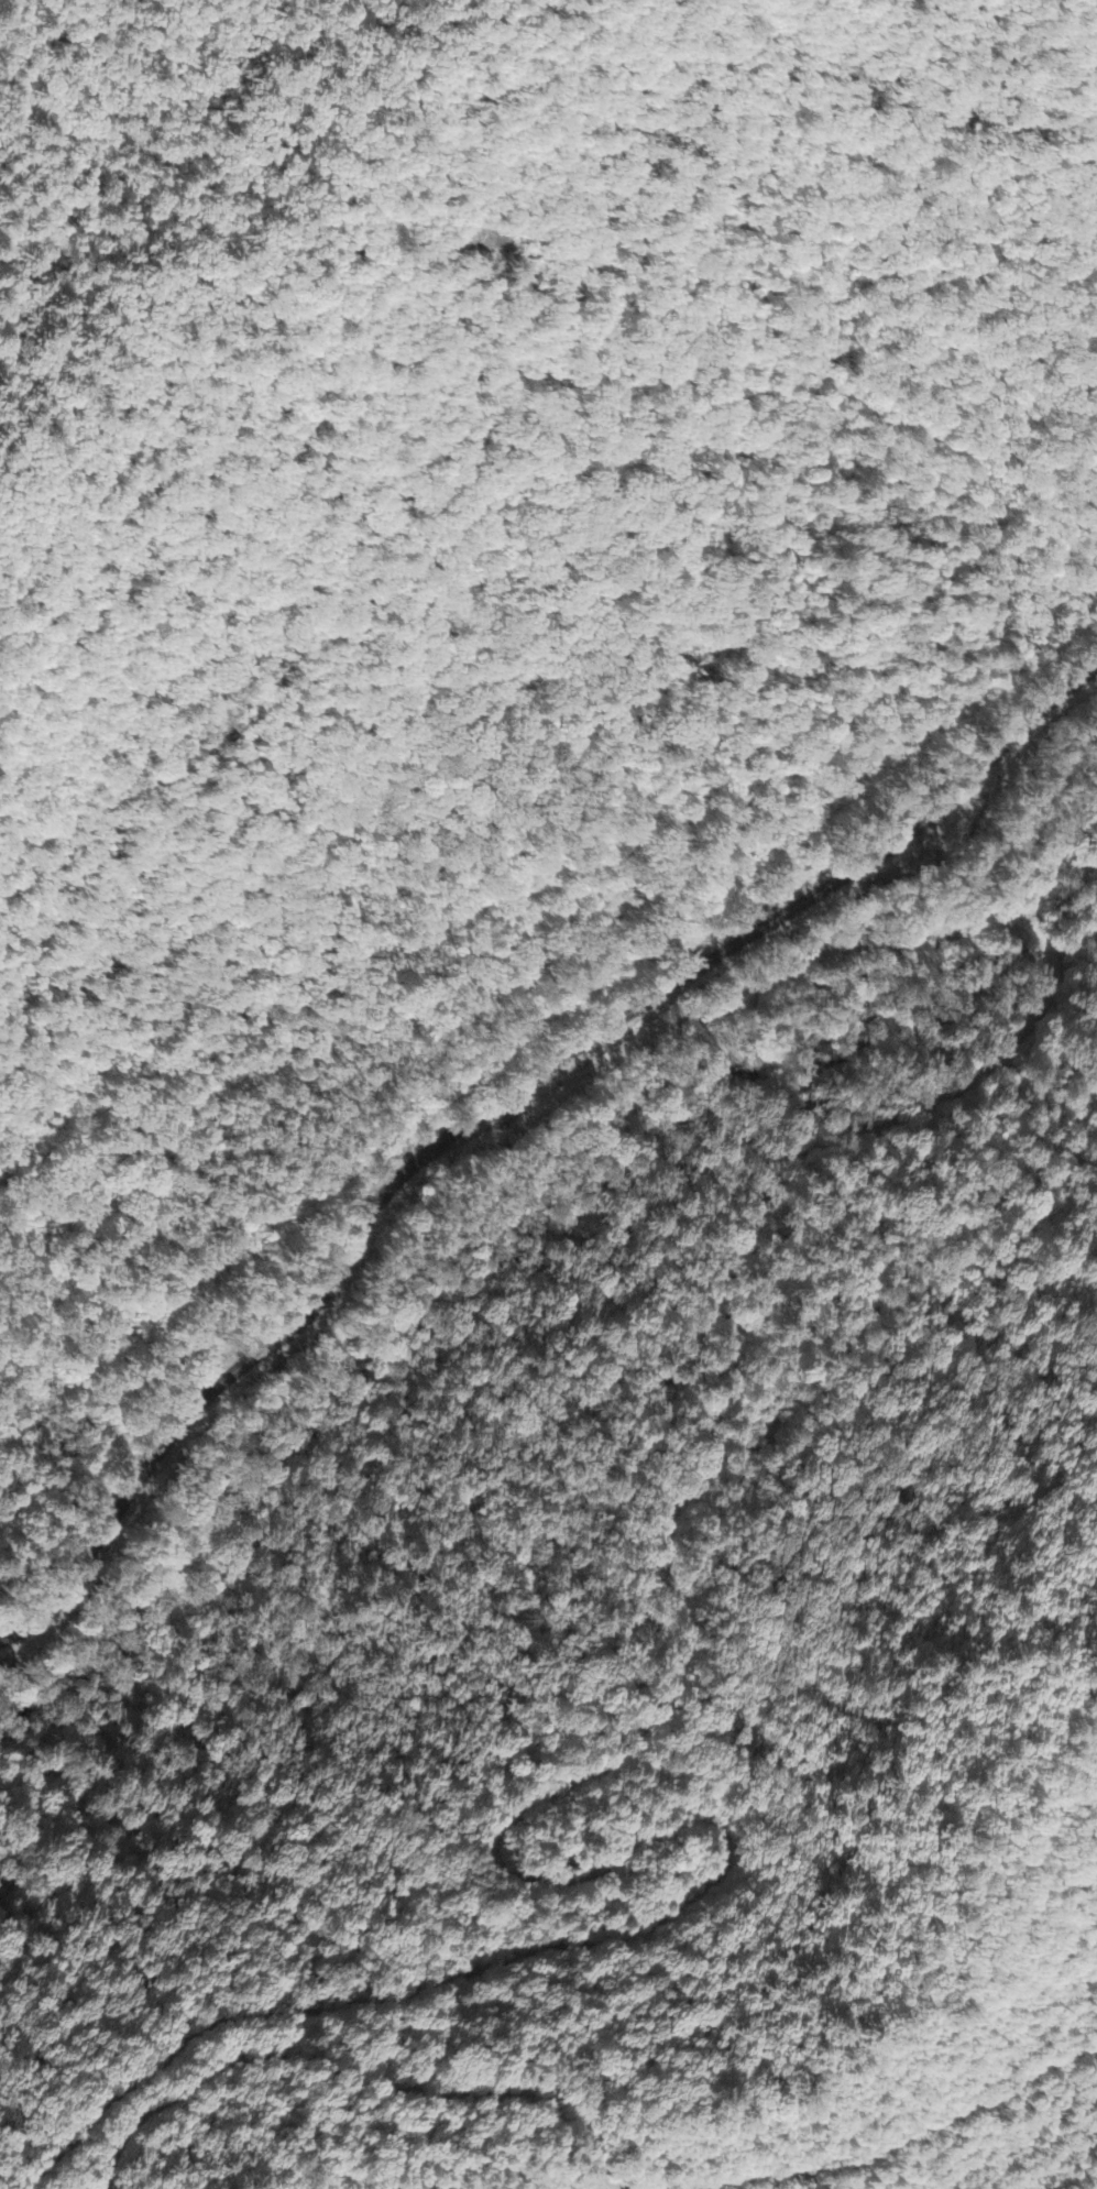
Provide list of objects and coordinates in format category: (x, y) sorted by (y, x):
road: (497, 1103)

